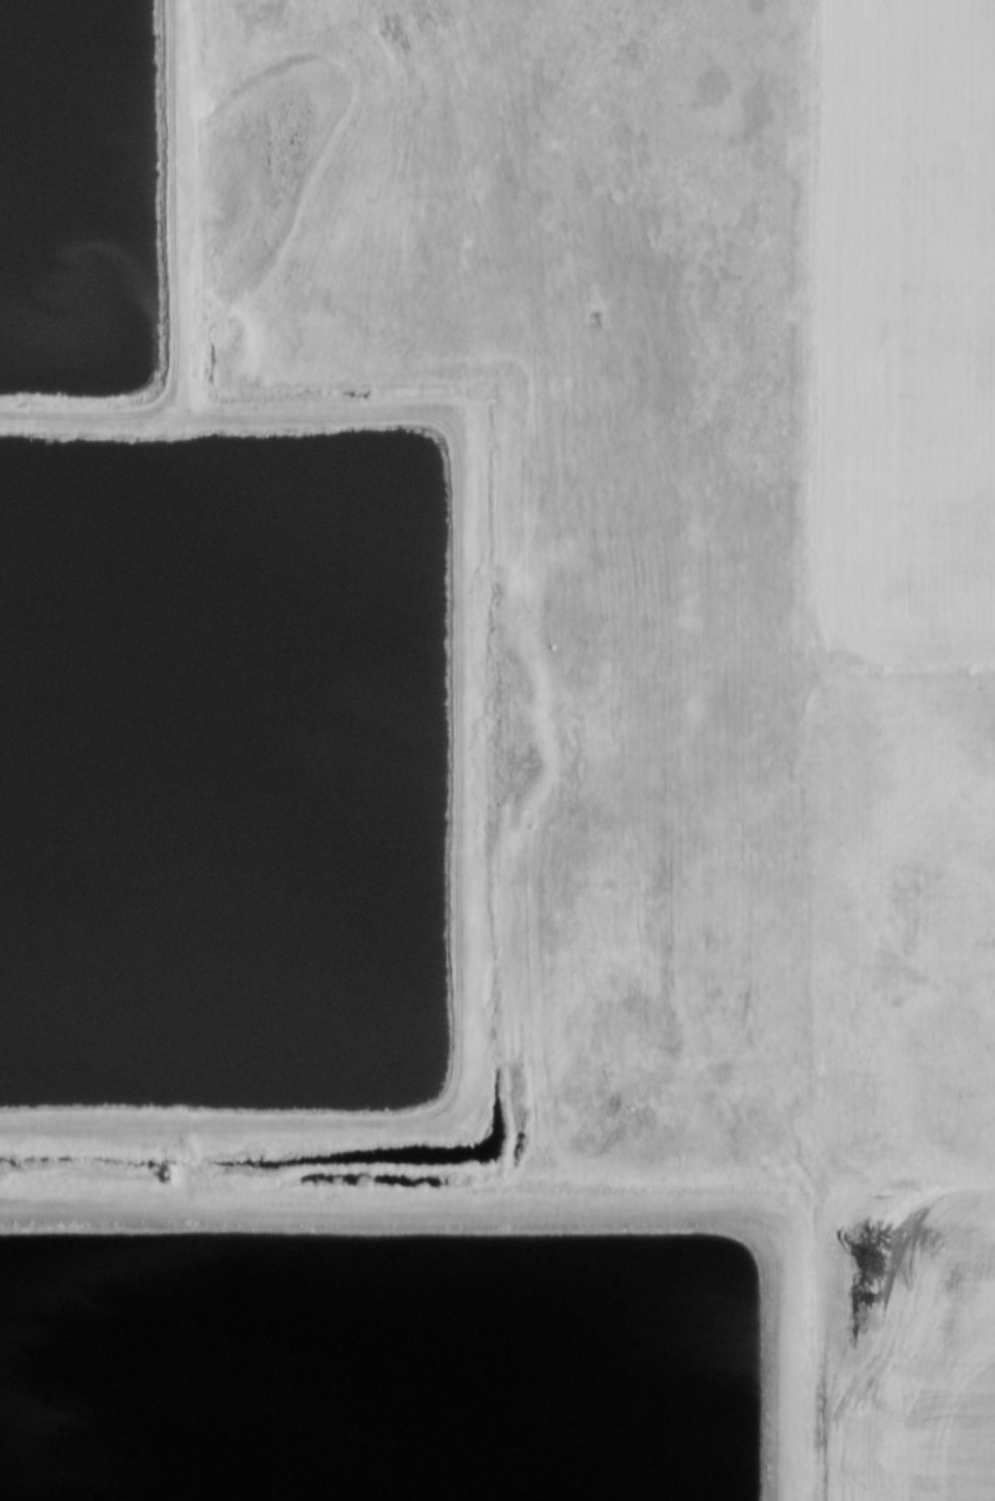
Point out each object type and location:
road: (176, 206)
road: (459, 765)

